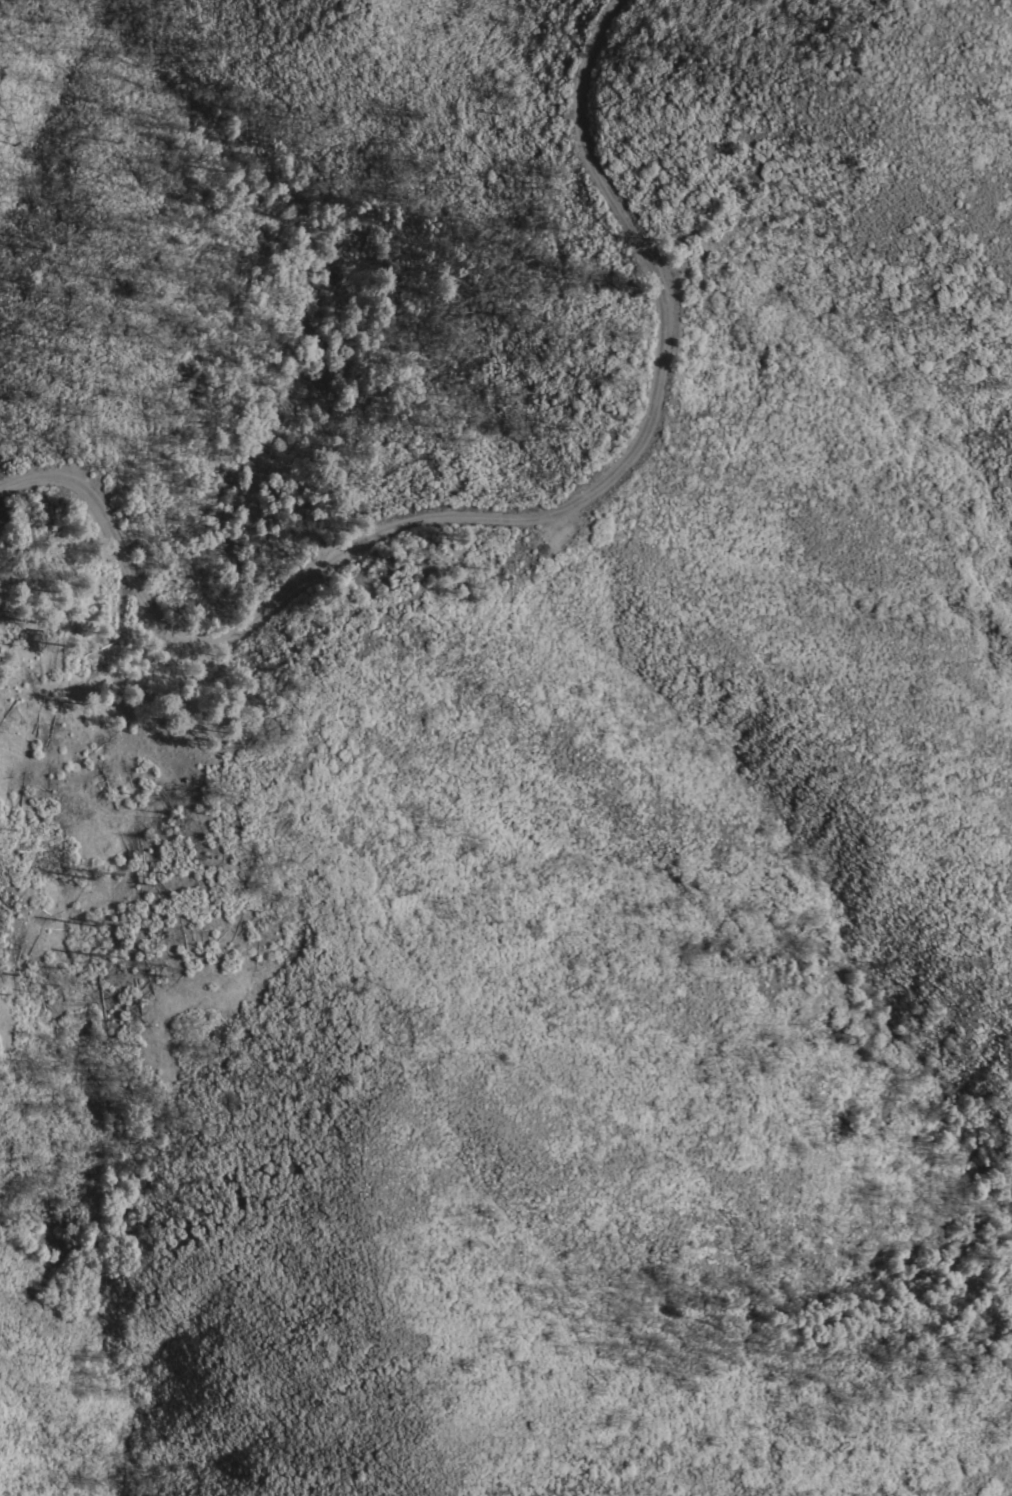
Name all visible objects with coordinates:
road: (510, 518)
road: (114, 656)
building: (75, 769)
storage tank: (75, 769)

